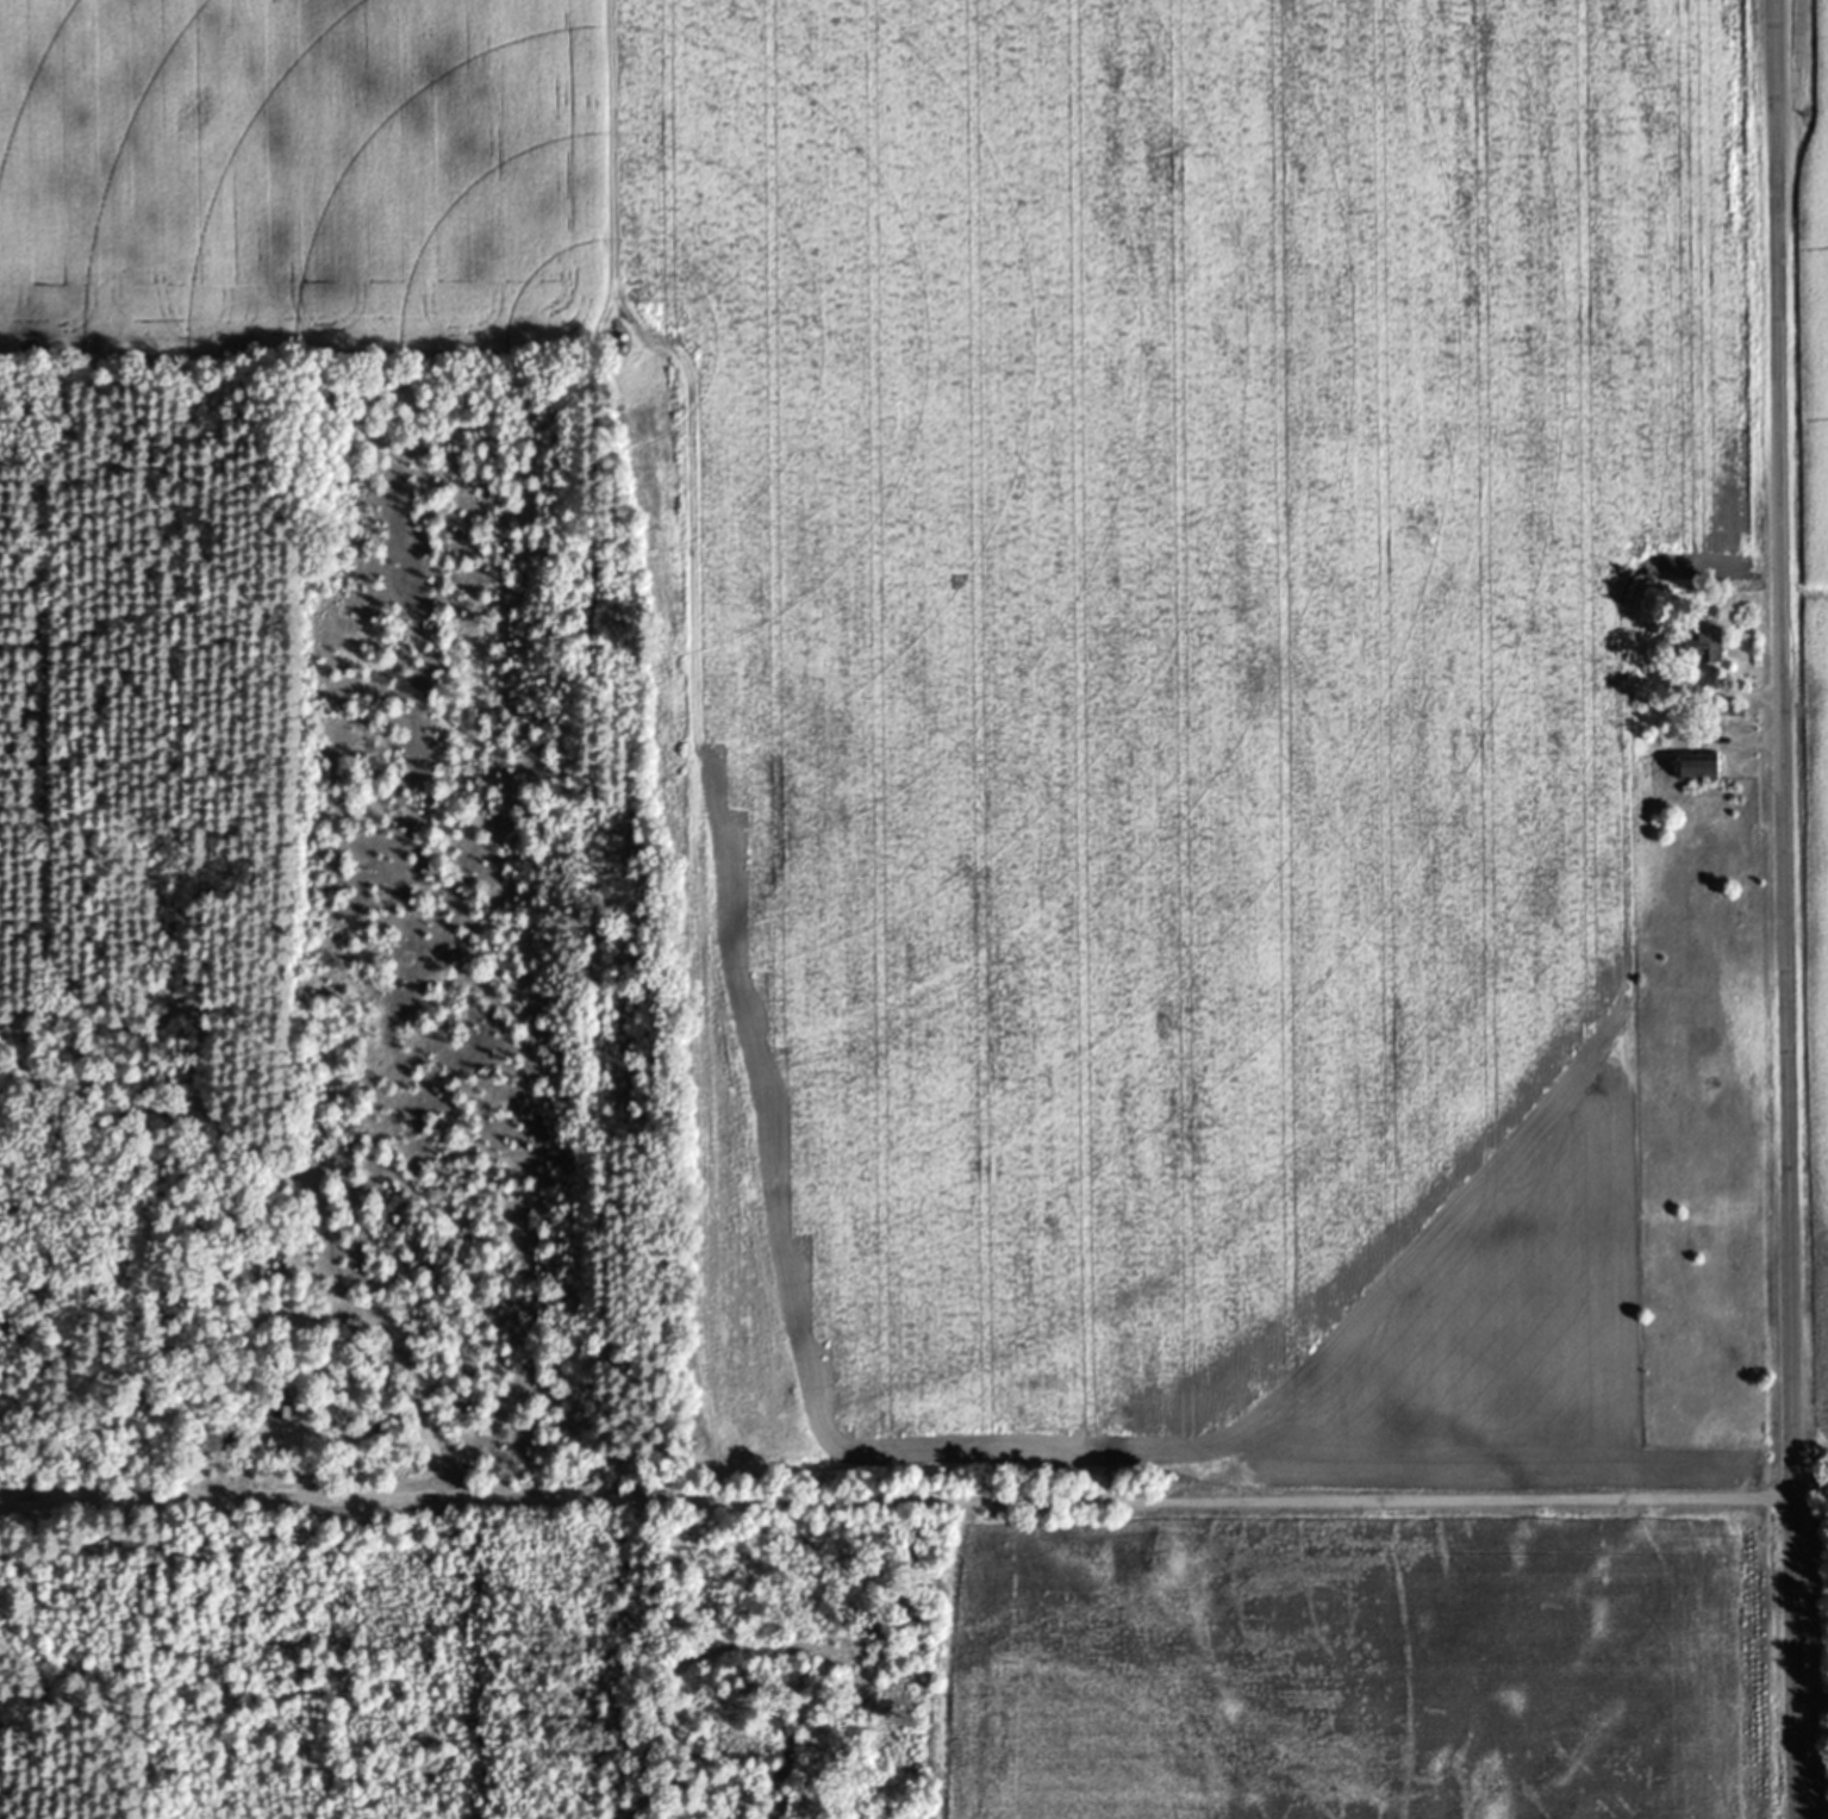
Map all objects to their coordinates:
building: (1708, 642)
building: (1698, 766)
road: (1790, 909)
road: (899, 1497)

